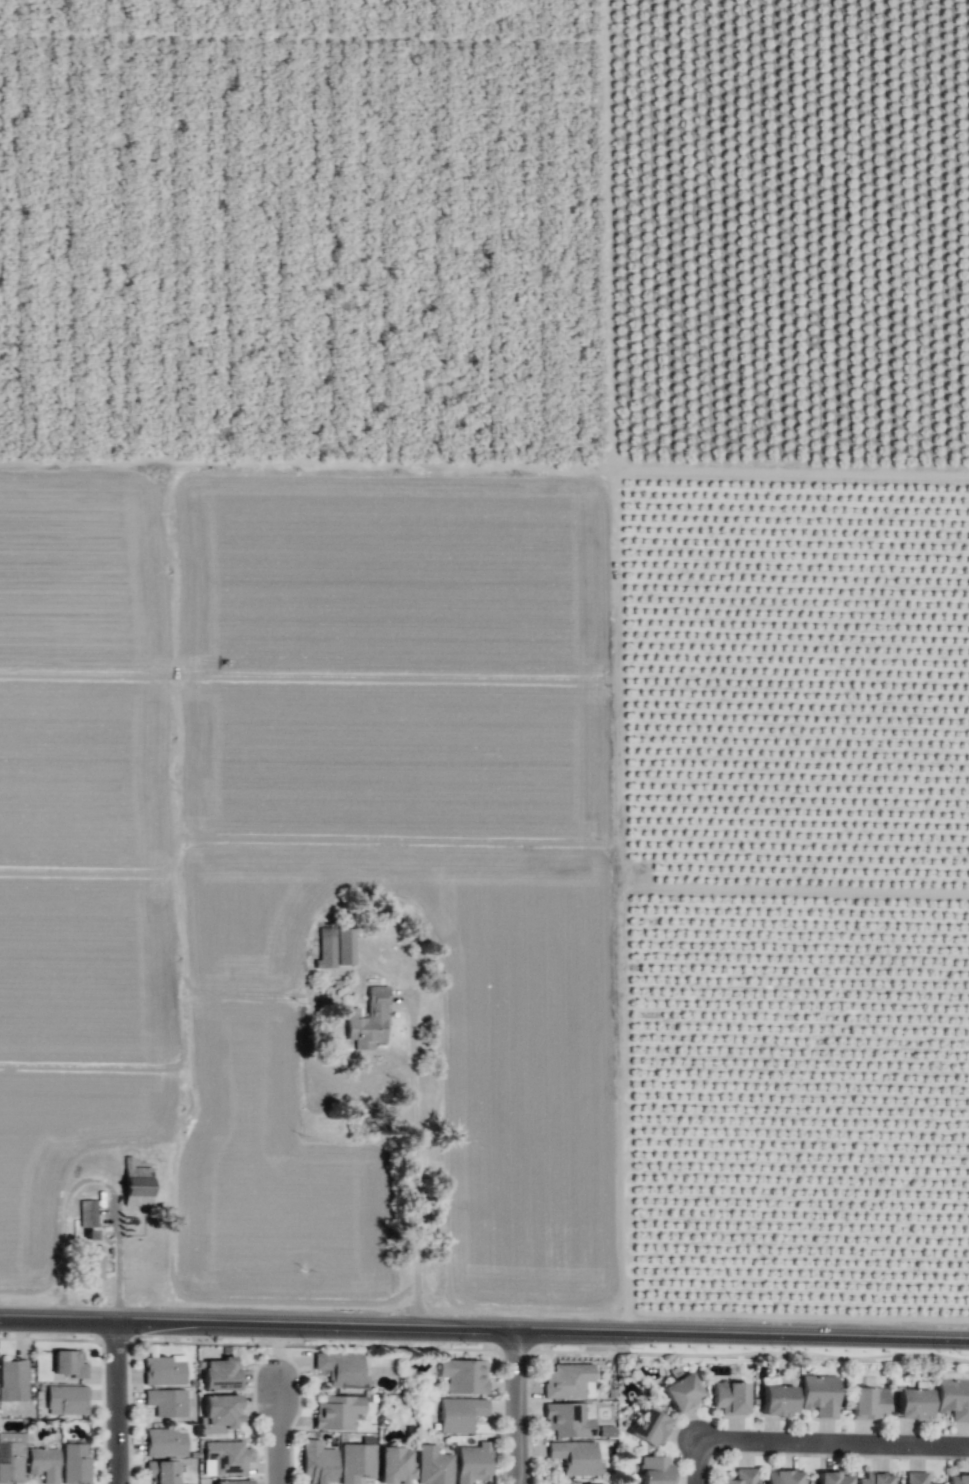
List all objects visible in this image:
crop: (485, 660)
building: (345, 946)
building: (325, 947)
building: (367, 1021)
road: (412, 1154)
road: (92, 1178)
building: (136, 1185)
building: (87, 1214)
building: (92, 1262)
road: (484, 1325)
building: (67, 1364)
building: (340, 1370)
building: (163, 1371)
building: (219, 1374)
building: (952, 1375)
building: (462, 1376)
building: (12, 1381)
building: (566, 1381)
building: (680, 1392)
building: (818, 1395)
building: (728, 1398)
building: (953, 1399)
building: (65, 1400)
building: (777, 1400)
road: (124, 1401)
building: (165, 1402)
building: (867, 1403)
building: (912, 1404)
road: (523, 1405)
building: (336, 1412)
building: (219, 1414)
building: (458, 1414)
building: (566, 1420)
building: (647, 1427)
road: (285, 1431)
building: (164, 1442)
road: (833, 1444)
building: (226, 1457)
building: (574, 1457)
building: (11, 1458)
building: (316, 1462)
building: (355, 1462)
road: (697, 1462)
building: (472, 1463)
building: (43, 1464)
building: (74, 1464)
building: (393, 1465)
building: (432, 1466)
building: (654, 1470)
building: (161, 1471)
building: (739, 1477)
building: (781, 1477)
building: (832, 1477)
building: (915, 1478)
building: (872, 1479)
building: (957, 1479)
building: (231, 1482)
building: (566, 1482)
building: (600, 1483)

